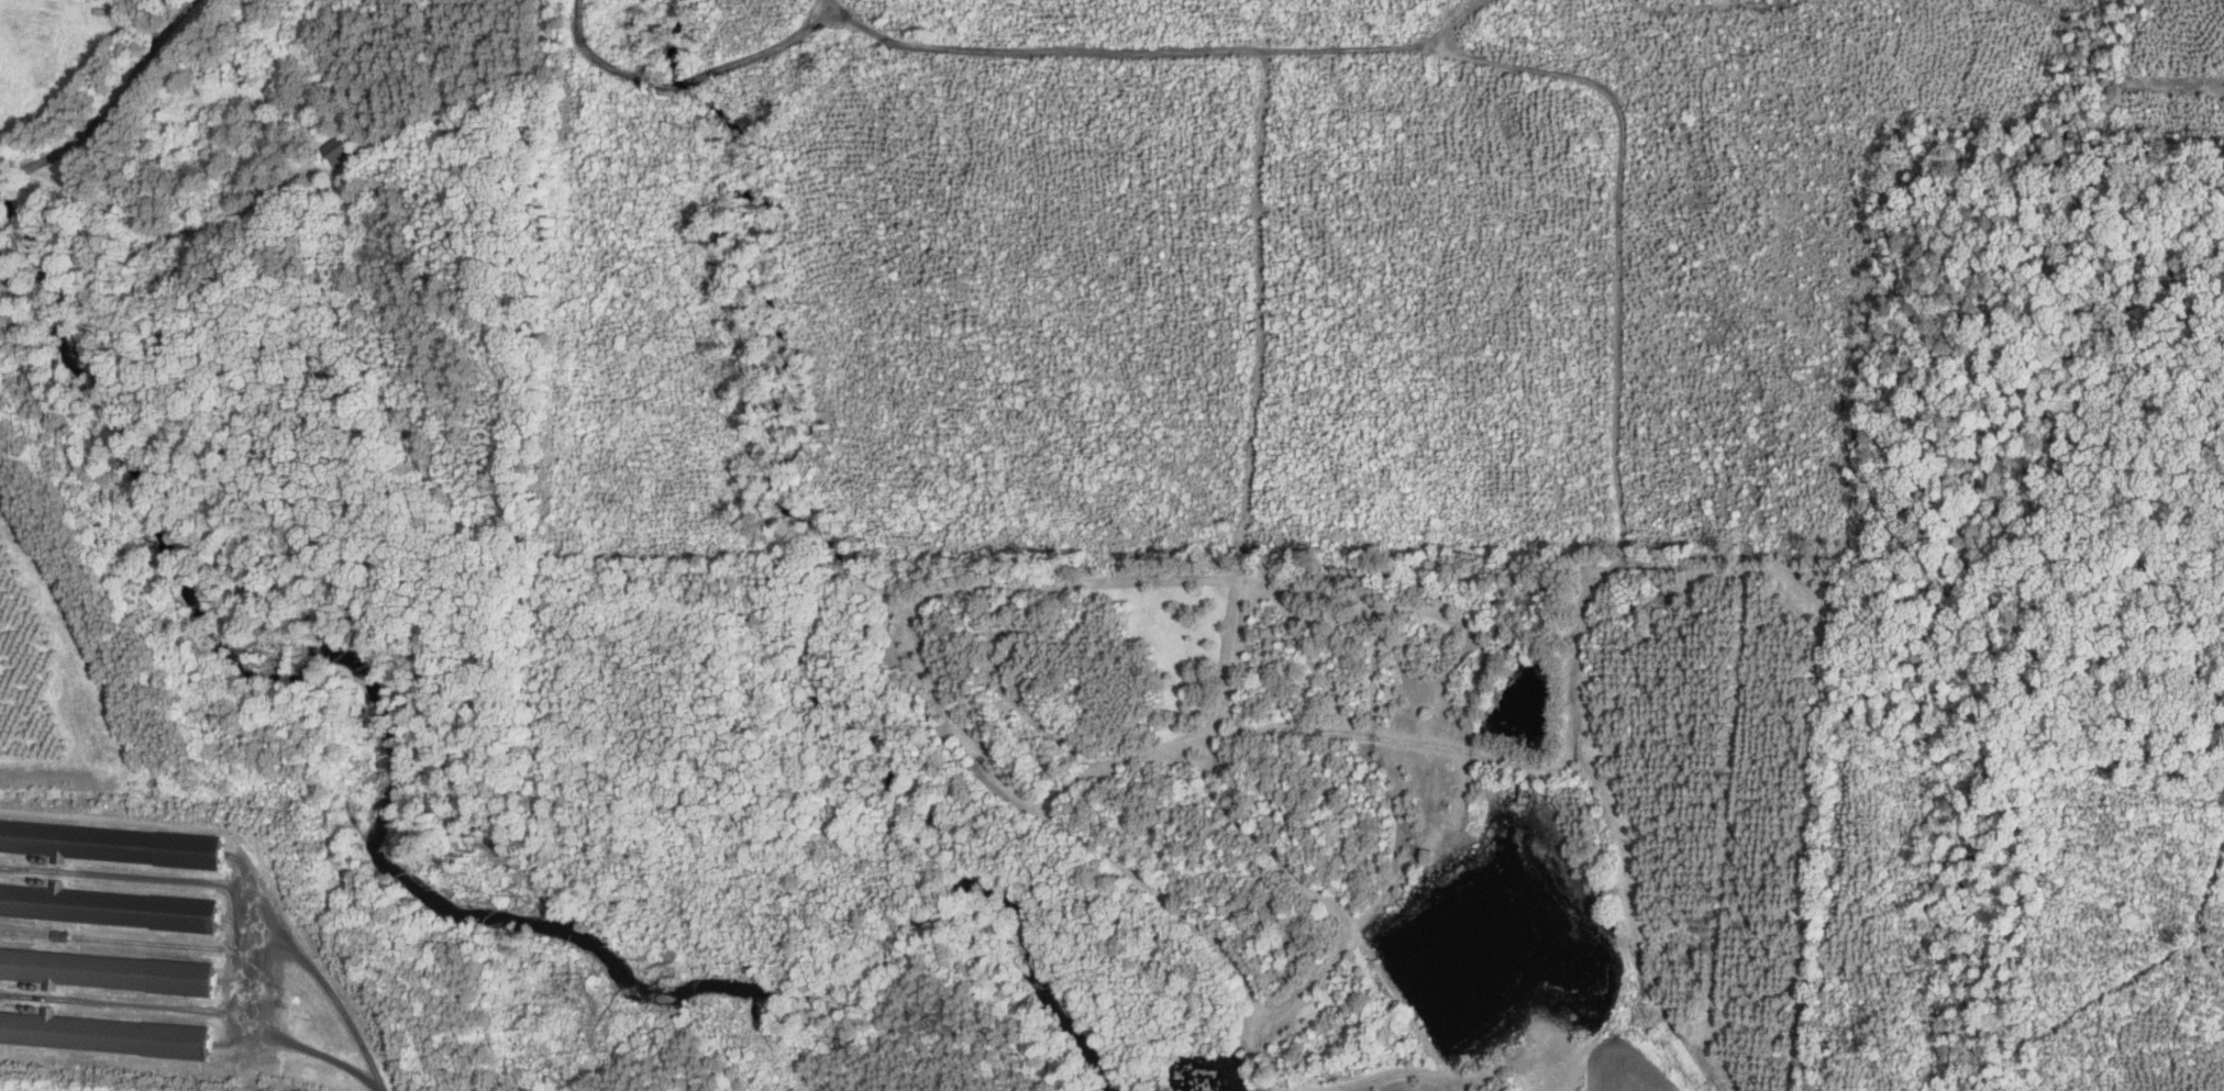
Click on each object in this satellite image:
road: (831, 3)
road: (628, 74)
road: (119, 101)
building: (335, 151)
road: (1586, 205)
building: (111, 843)
building: (103, 905)
building: (56, 935)
building: (106, 970)
road: (347, 1011)
building: (99, 1033)

